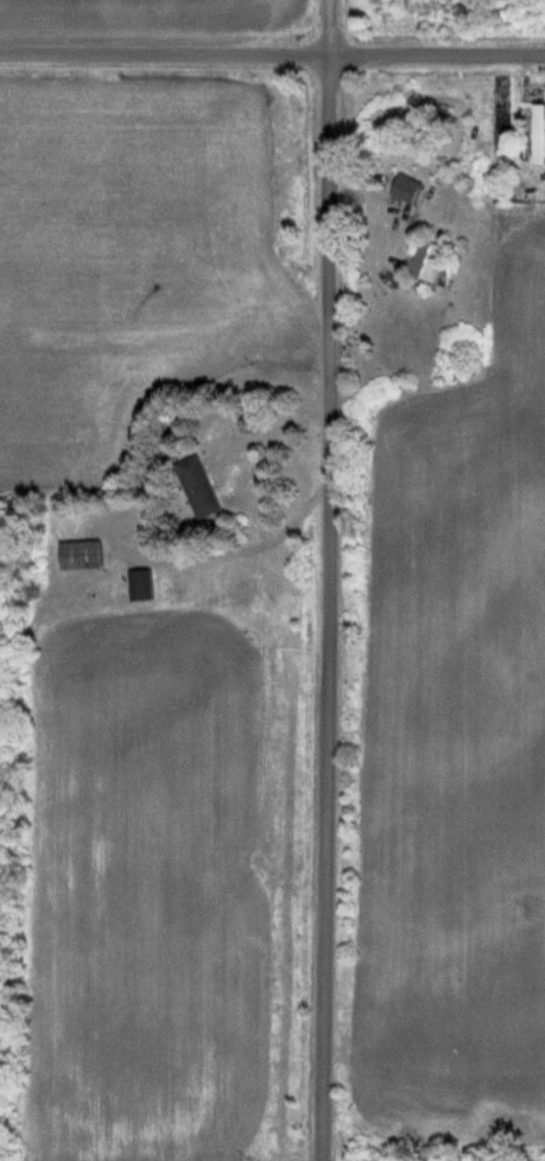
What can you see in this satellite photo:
road: (272, 53)
building: (540, 134)
building: (540, 222)
building: (433, 262)
building: (202, 487)
road: (228, 533)
building: (85, 554)
road: (325, 580)
building: (146, 585)

